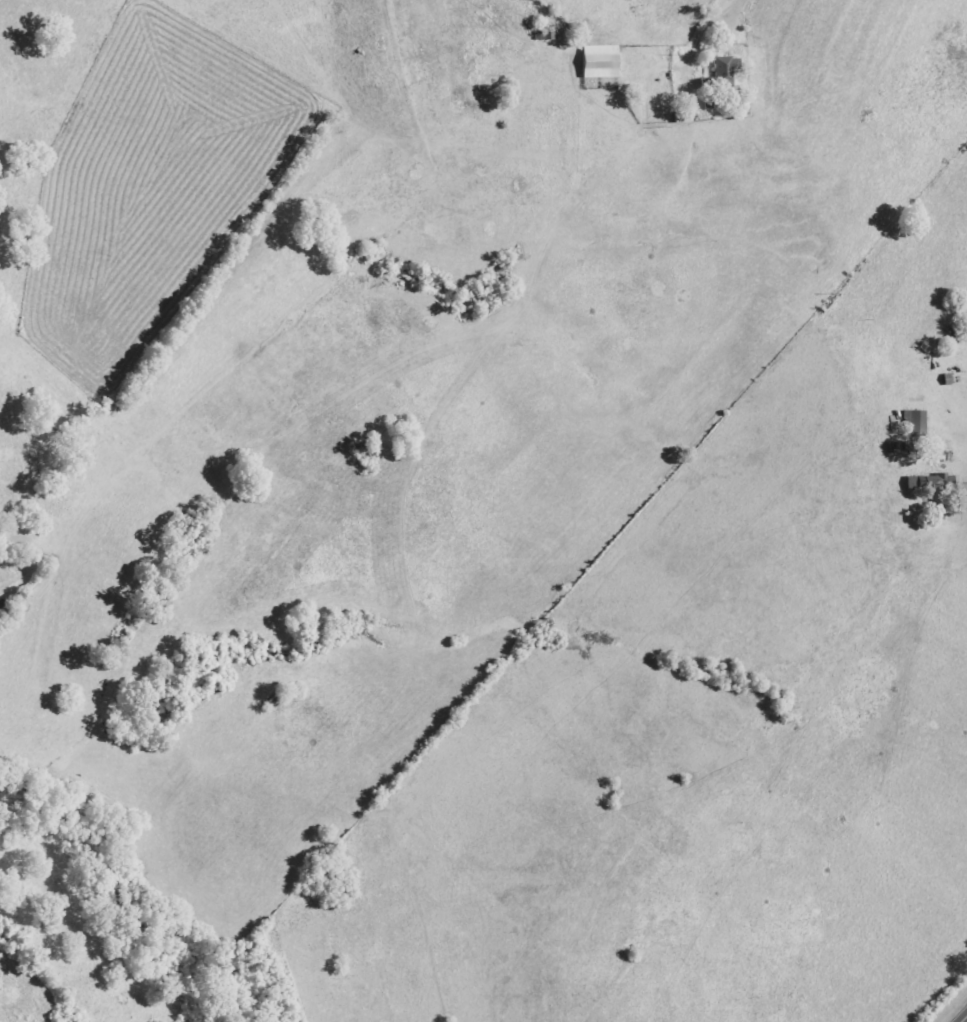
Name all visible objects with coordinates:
building: (599, 62)
building: (725, 67)
building: (682, 117)
building: (915, 423)
road: (965, 529)
road: (966, 1021)

